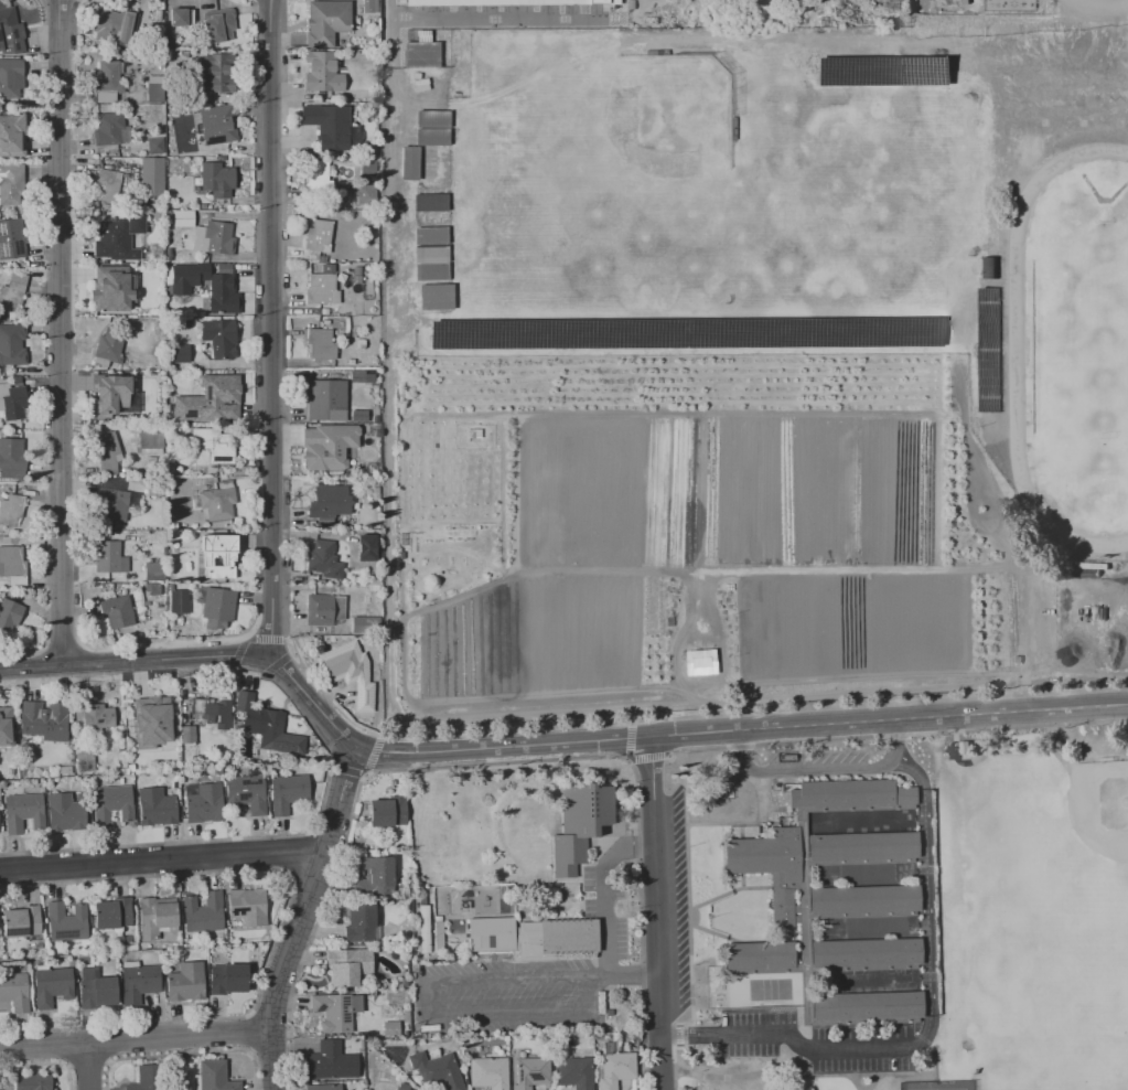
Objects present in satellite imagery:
building: (508, 2)
building: (1, 3)
building: (386, 12)
building: (176, 17)
building: (325, 21)
building: (111, 25)
building: (217, 25)
building: (10, 35)
building: (420, 51)
building: (218, 72)
building: (322, 72)
building: (106, 76)
building: (11, 78)
building: (421, 88)
building: (153, 92)
building: (190, 124)
building: (216, 124)
building: (327, 126)
building: (107, 128)
building: (11, 136)
park: (648, 140)
building: (154, 146)
building: (427, 162)
building: (368, 168)
building: (151, 177)
building: (314, 177)
building: (215, 179)
building: (11, 183)
building: (106, 185)
building: (366, 195)
building: (429, 202)
building: (183, 217)
building: (116, 236)
building: (319, 236)
building: (219, 237)
building: (11, 238)
building: (224, 268)
building: (186, 277)
building: (112, 288)
building: (13, 289)
building: (321, 289)
building: (223, 293)
road: (271, 330)
road: (62, 334)
building: (218, 338)
building: (321, 343)
building: (361, 343)
building: (109, 344)
building: (11, 346)
park: (1079, 346)
track: (1018, 348)
building: (989, 349)
building: (178, 354)
building: (361, 375)
building: (151, 381)
building: (115, 399)
building: (210, 399)
building: (326, 399)
building: (12, 400)
building: (358, 415)
building: (150, 441)
building: (214, 446)
building: (327, 446)
building: (108, 450)
building: (11, 458)
building: (150, 459)
building: (198, 481)
building: (224, 483)
building: (986, 485)
building: (217, 502)
building: (998, 502)
building: (330, 503)
building: (116, 505)
building: (10, 507)
building: (459, 532)
building: (365, 547)
building: (218, 556)
building: (109, 557)
building: (324, 559)
building: (12, 565)
building: (154, 566)
building: (374, 586)
building: (152, 588)
building: (377, 600)
building: (179, 601)
building: (219, 606)
building: (324, 608)
building: (10, 610)
building: (117, 611)
building: (365, 624)
road: (1024, 638)
road: (198, 658)
building: (342, 661)
building: (699, 662)
building: (365, 695)
road: (1023, 696)
building: (211, 712)
building: (95, 717)
building: (0, 719)
building: (43, 722)
building: (151, 724)
building: (268, 726)
road: (742, 729)
building: (187, 734)
road: (1089, 747)
parking lot: (818, 759)
building: (84, 760)
road: (823, 770)
building: (287, 792)
building: (850, 793)
building: (245, 794)
building: (203, 802)
building: (111, 803)
building: (155, 806)
park: (1100, 806)
building: (387, 811)
building: (23, 812)
building: (64, 812)
building: (580, 823)
building: (861, 845)
road: (163, 857)
building: (769, 867)
building: (378, 870)
building: (864, 899)
road: (925, 901)
parking lot: (681, 905)
building: (247, 906)
building: (202, 911)
road: (658, 912)
building: (112, 913)
building: (154, 918)
road: (303, 918)
building: (21, 921)
building: (66, 921)
park: (992, 922)
building: (361, 923)
building: (423, 929)
building: (491, 933)
building: (568, 936)
building: (438, 938)
road: (604, 939)
building: (864, 952)
building: (759, 954)
building: (347, 966)
road: (625, 977)
building: (226, 979)
road: (508, 980)
building: (138, 981)
building: (185, 982)
building: (52, 985)
building: (14, 991)
building: (96, 991)
building: (867, 1006)
building: (335, 1011)
road: (509, 1019)
building: (390, 1027)
road: (786, 1037)
parking lot: (819, 1041)
road: (133, 1045)
building: (330, 1061)
road: (93, 1069)
building: (614, 1069)
building: (437, 1070)
building: (487, 1072)
building: (530, 1072)
building: (572, 1072)
road: (769, 1072)
road: (910, 1072)
road: (862, 1073)
building: (215, 1076)
building: (146, 1078)
building: (32, 1081)
park: (935, 1086)
building: (323, 1087)
building: (402, 1087)

